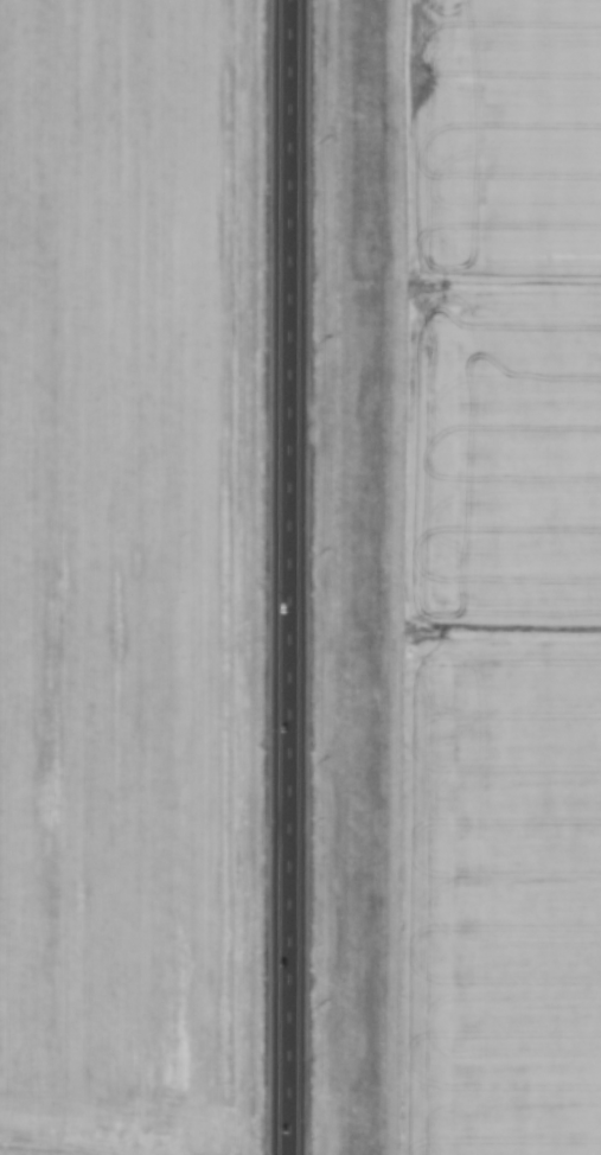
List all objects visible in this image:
road: (287, 577)

